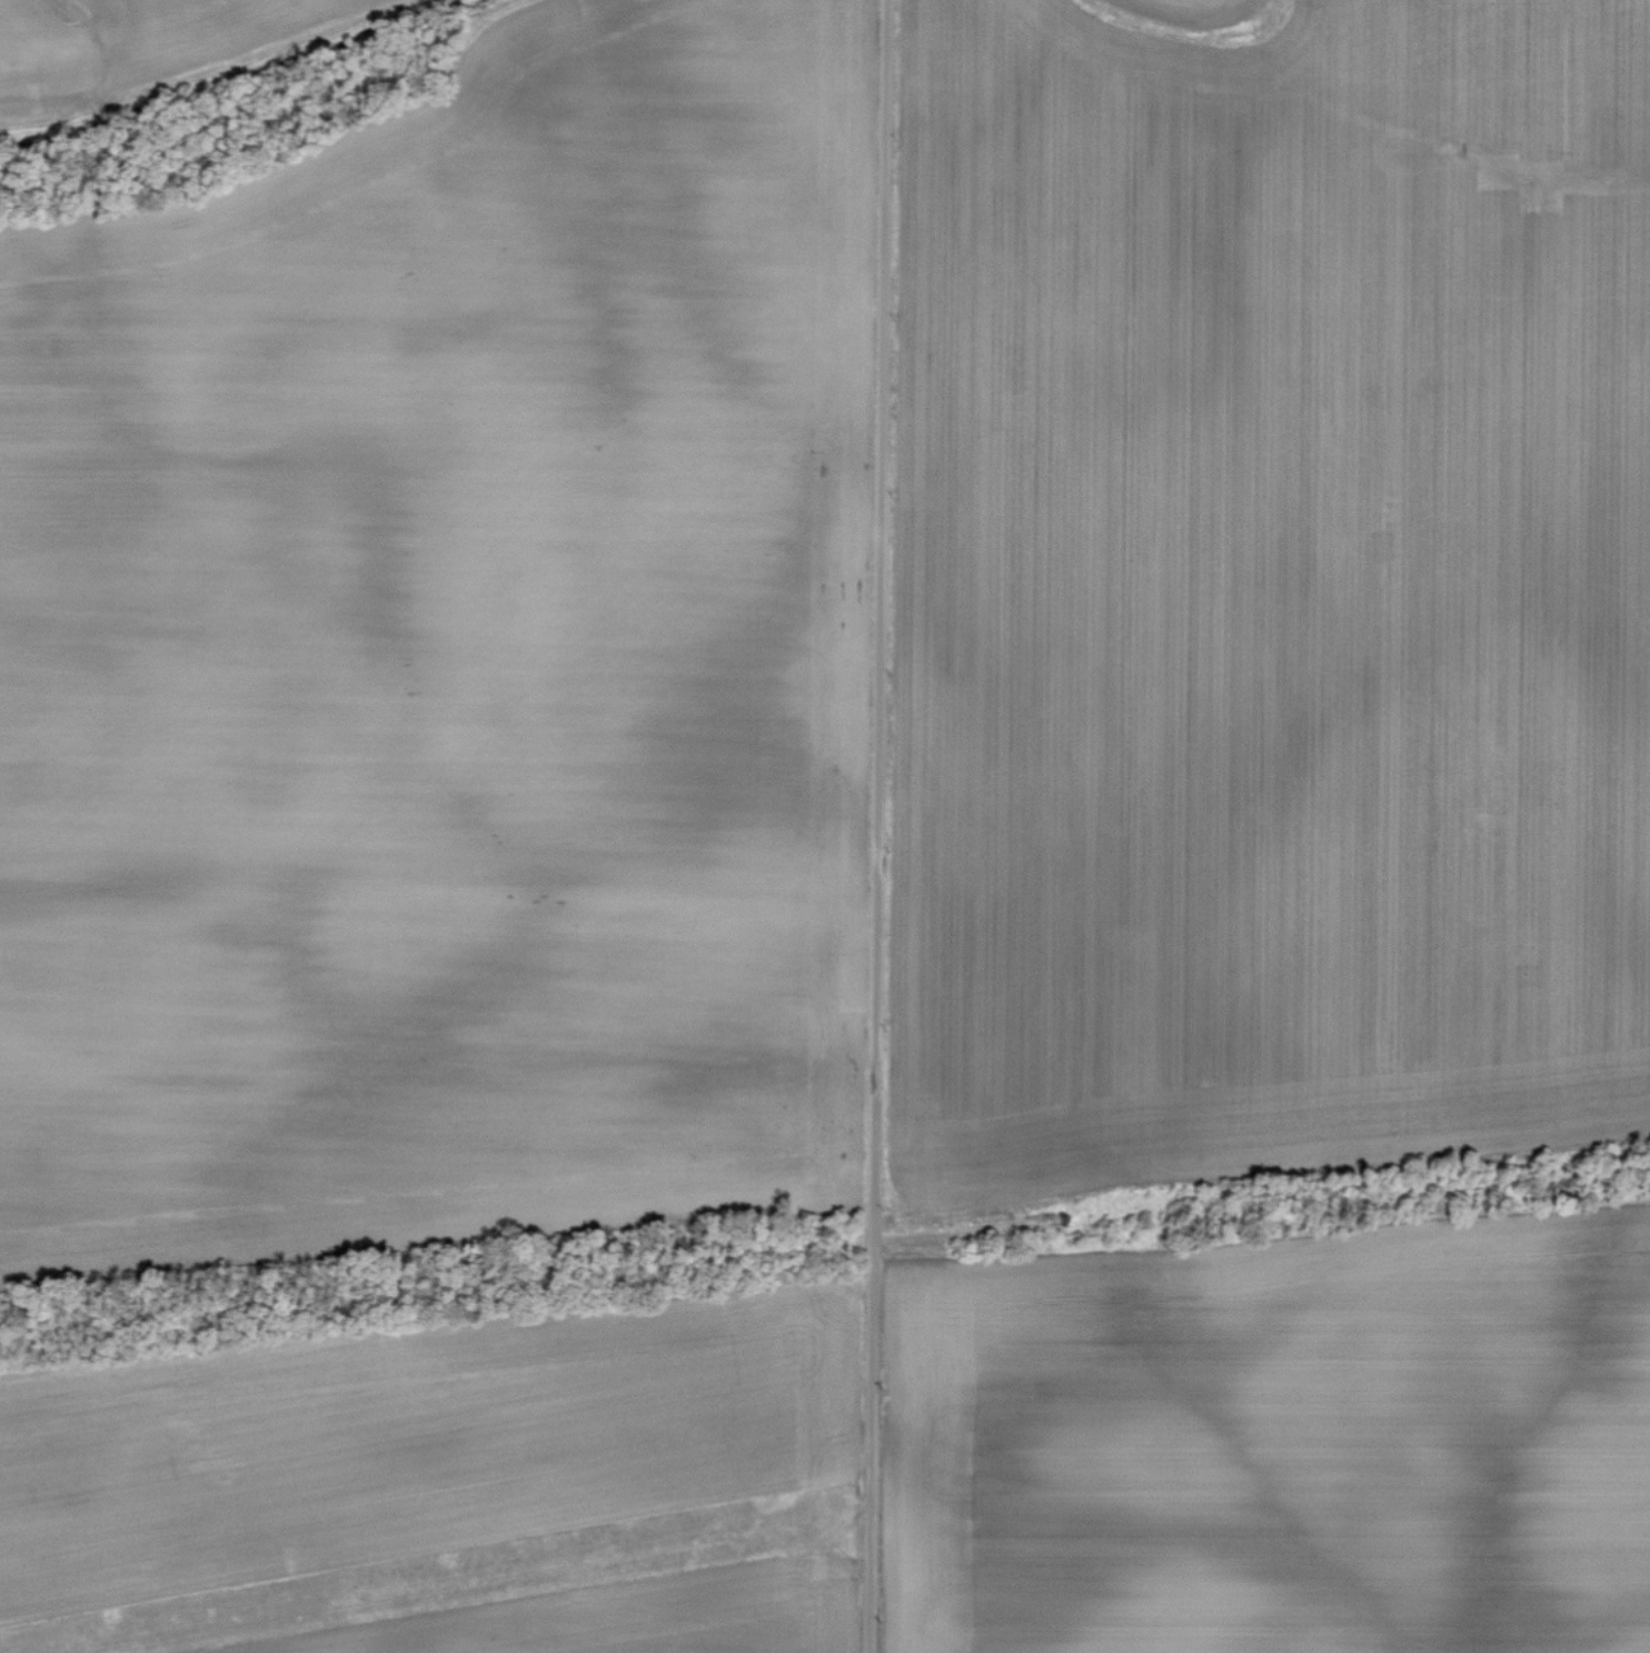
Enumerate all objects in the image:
road: (883, 826)
airport runway: (428, 1587)

